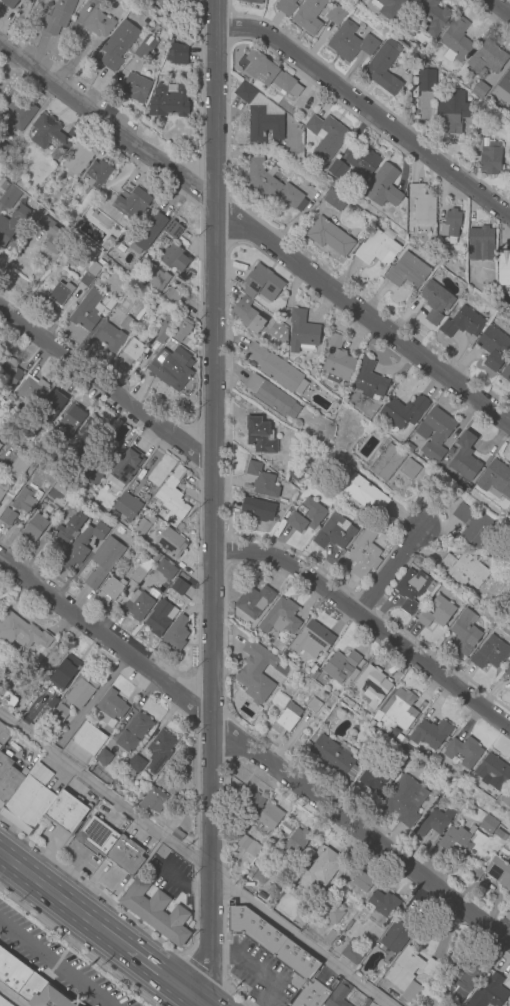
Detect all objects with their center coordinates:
building: (98, 1)
building: (150, 1)
building: (254, 1)
building: (10, 3)
building: (163, 3)
building: (286, 6)
building: (389, 7)
road: (496, 9)
building: (309, 15)
building: (335, 15)
building: (57, 16)
building: (433, 18)
building: (99, 24)
building: (456, 40)
building: (350, 42)
building: (116, 47)
building: (143, 51)
building: (177, 54)
building: (487, 57)
building: (384, 66)
building: (269, 73)
building: (162, 79)
building: (426, 80)
building: (136, 87)
building: (503, 88)
building: (479, 89)
building: (168, 102)
building: (451, 112)
road: (366, 113)
building: (18, 115)
building: (260, 115)
road: (107, 133)
building: (49, 136)
building: (326, 137)
building: (2, 149)
building: (14, 153)
building: (489, 156)
building: (77, 158)
building: (362, 164)
building: (44, 166)
building: (337, 170)
building: (98, 174)
building: (272, 185)
building: (383, 186)
building: (29, 192)
building: (10, 197)
building: (335, 198)
building: (131, 202)
building: (423, 209)
building: (11, 224)
building: (450, 226)
building: (174, 230)
building: (409, 231)
building: (146, 234)
building: (51, 235)
building: (329, 236)
building: (183, 242)
building: (480, 243)
building: (378, 248)
building: (47, 249)
building: (174, 257)
building: (503, 268)
building: (408, 271)
building: (90, 273)
building: (155, 277)
building: (262, 284)
building: (58, 294)
building: (172, 296)
building: (435, 301)
building: (86, 310)
building: (247, 315)
road: (365, 316)
building: (126, 324)
building: (463, 324)
building: (182, 330)
building: (163, 331)
building: (302, 332)
building: (279, 334)
building: (111, 338)
building: (494, 348)
building: (131, 351)
building: (337, 360)
building: (274, 367)
building: (171, 368)
building: (506, 373)
building: (10, 376)
building: (369, 381)
road: (108, 384)
building: (31, 388)
building: (271, 397)
building: (52, 407)
building: (403, 412)
building: (70, 420)
building: (33, 423)
building: (435, 433)
building: (88, 435)
building: (259, 435)
building: (2, 441)
building: (117, 452)
building: (465, 458)
building: (387, 463)
building: (18, 467)
building: (125, 468)
building: (409, 469)
building: (92, 471)
building: (294, 474)
building: (495, 480)
building: (262, 481)
building: (3, 487)
building: (363, 492)
building: (173, 497)
building: (26, 498)
road: (214, 500)
building: (76, 505)
building: (127, 506)
building: (37, 509)
building: (259, 509)
building: (114, 515)
building: (7, 516)
building: (306, 516)
building: (143, 524)
building: (474, 525)
building: (34, 528)
building: (70, 528)
building: (334, 532)
building: (171, 543)
building: (82, 545)
building: (364, 555)
building: (104, 561)
building: (143, 568)
building: (166, 570)
building: (464, 571)
road: (387, 575)
building: (179, 587)
building: (111, 588)
building: (410, 589)
building: (153, 594)
building: (254, 602)
building: (137, 606)
building: (437, 613)
building: (160, 618)
building: (280, 618)
building: (509, 619)
road: (368, 624)
building: (21, 632)
building: (463, 632)
building: (176, 634)
building: (312, 639)
building: (490, 653)
building: (342, 666)
building: (64, 671)
building: (508, 672)
building: (256, 673)
building: (273, 675)
building: (314, 675)
building: (373, 684)
building: (82, 691)
building: (509, 691)
building: (7, 698)
building: (57, 699)
building: (314, 705)
road: (85, 707)
building: (112, 707)
building: (400, 708)
building: (60, 713)
building: (286, 719)
building: (372, 724)
building: (134, 732)
building: (430, 733)
building: (4, 734)
building: (398, 738)
building: (88, 739)
building: (160, 749)
building: (463, 751)
road: (256, 755)
building: (103, 757)
building: (333, 757)
building: (402, 760)
building: (124, 761)
building: (134, 766)
building: (492, 772)
building: (115, 773)
building: (373, 778)
building: (8, 779)
building: (120, 780)
building: (506, 799)
building: (29, 800)
building: (404, 800)
building: (153, 801)
building: (249, 801)
building: (66, 812)
building: (269, 817)
building: (435, 821)
building: (488, 825)
building: (285, 827)
building: (237, 833)
building: (500, 834)
building: (177, 835)
parking lot: (50, 837)
building: (455, 838)
building: (296, 842)
building: (111, 845)
building: (248, 845)
parking lot: (79, 859)
building: (461, 859)
road: (2, 861)
road: (191, 862)
building: (323, 867)
building: (350, 872)
building: (474, 872)
building: (499, 872)
building: (261, 874)
parking lot: (172, 878)
parking lot: (109, 880)
building: (362, 882)
road: (62, 902)
building: (384, 904)
building: (156, 912)
building: (332, 913)
building: (396, 936)
building: (329, 937)
road: (221, 952)
building: (352, 952)
building: (280, 954)
road: (55, 962)
parking lot: (55, 964)
road: (156, 972)
parking lot: (259, 974)
building: (410, 974)
road: (264, 977)
building: (467, 977)
building: (29, 984)
building: (488, 994)
building: (338, 995)
road: (194, 1000)
building: (3, 1003)
building: (366, 1003)
building: (370, 1005)

